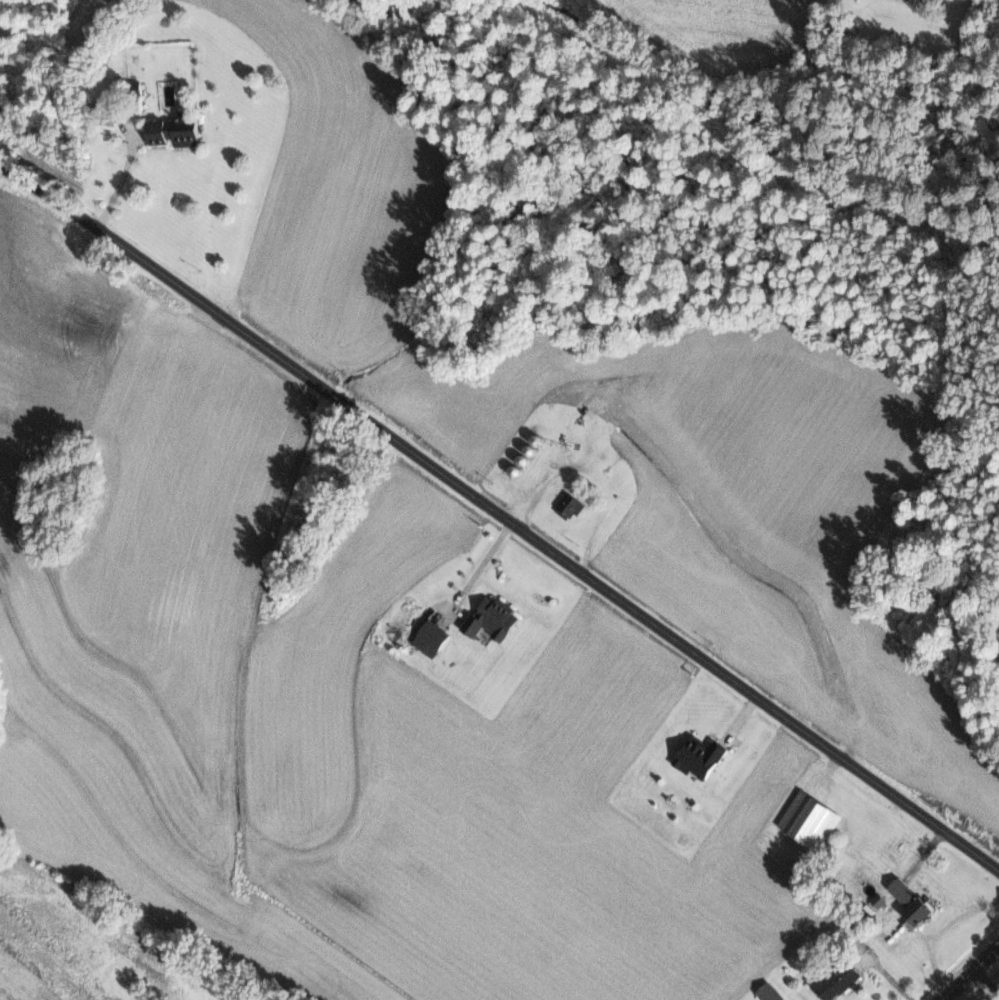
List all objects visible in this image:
building: (135, 87)
building: (174, 129)
road: (119, 178)
building: (570, 504)
road: (499, 514)
building: (492, 618)
building: (434, 633)
building: (700, 756)
building: (810, 819)
building: (880, 899)
building: (913, 903)
road: (969, 972)
building: (834, 980)
building: (770, 992)

